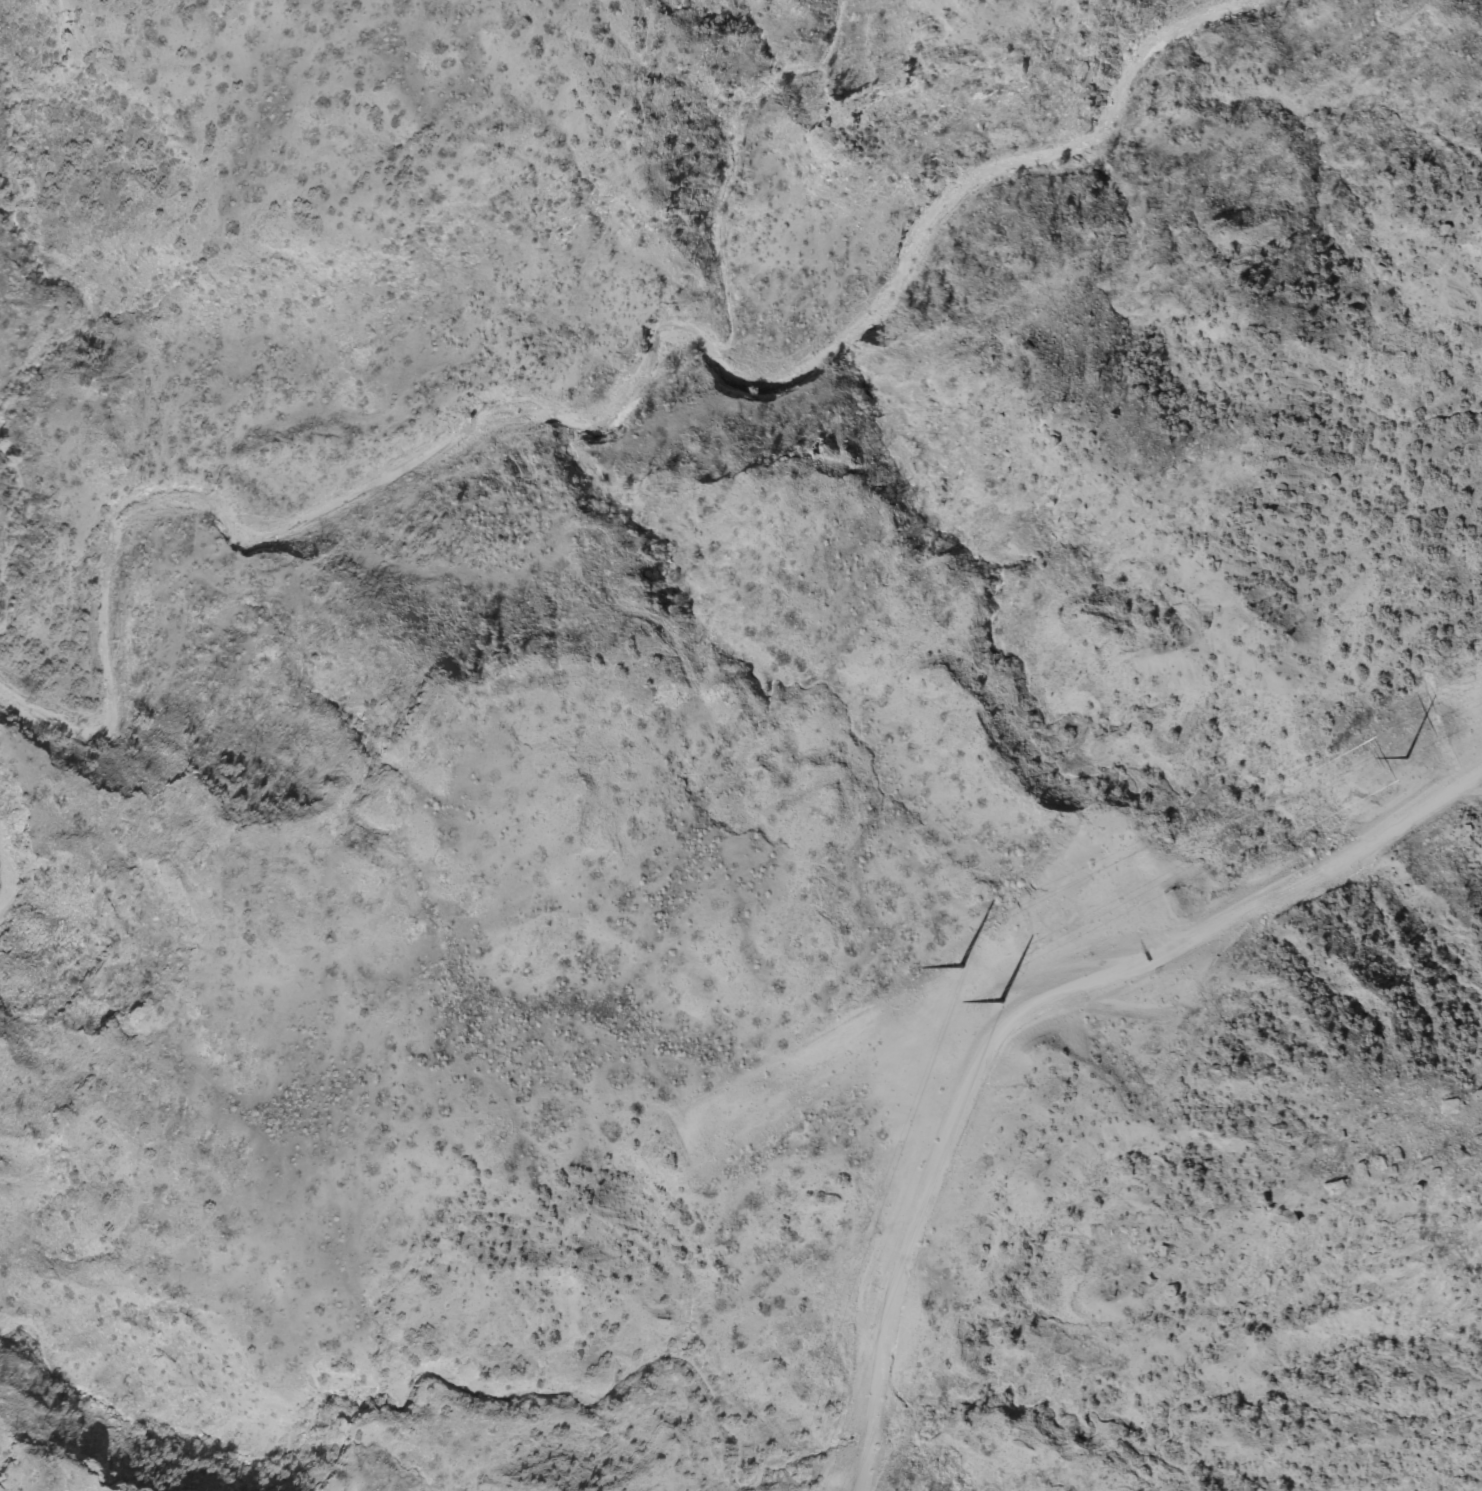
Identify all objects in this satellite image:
power tower: (1404, 760)
power tower: (980, 983)

